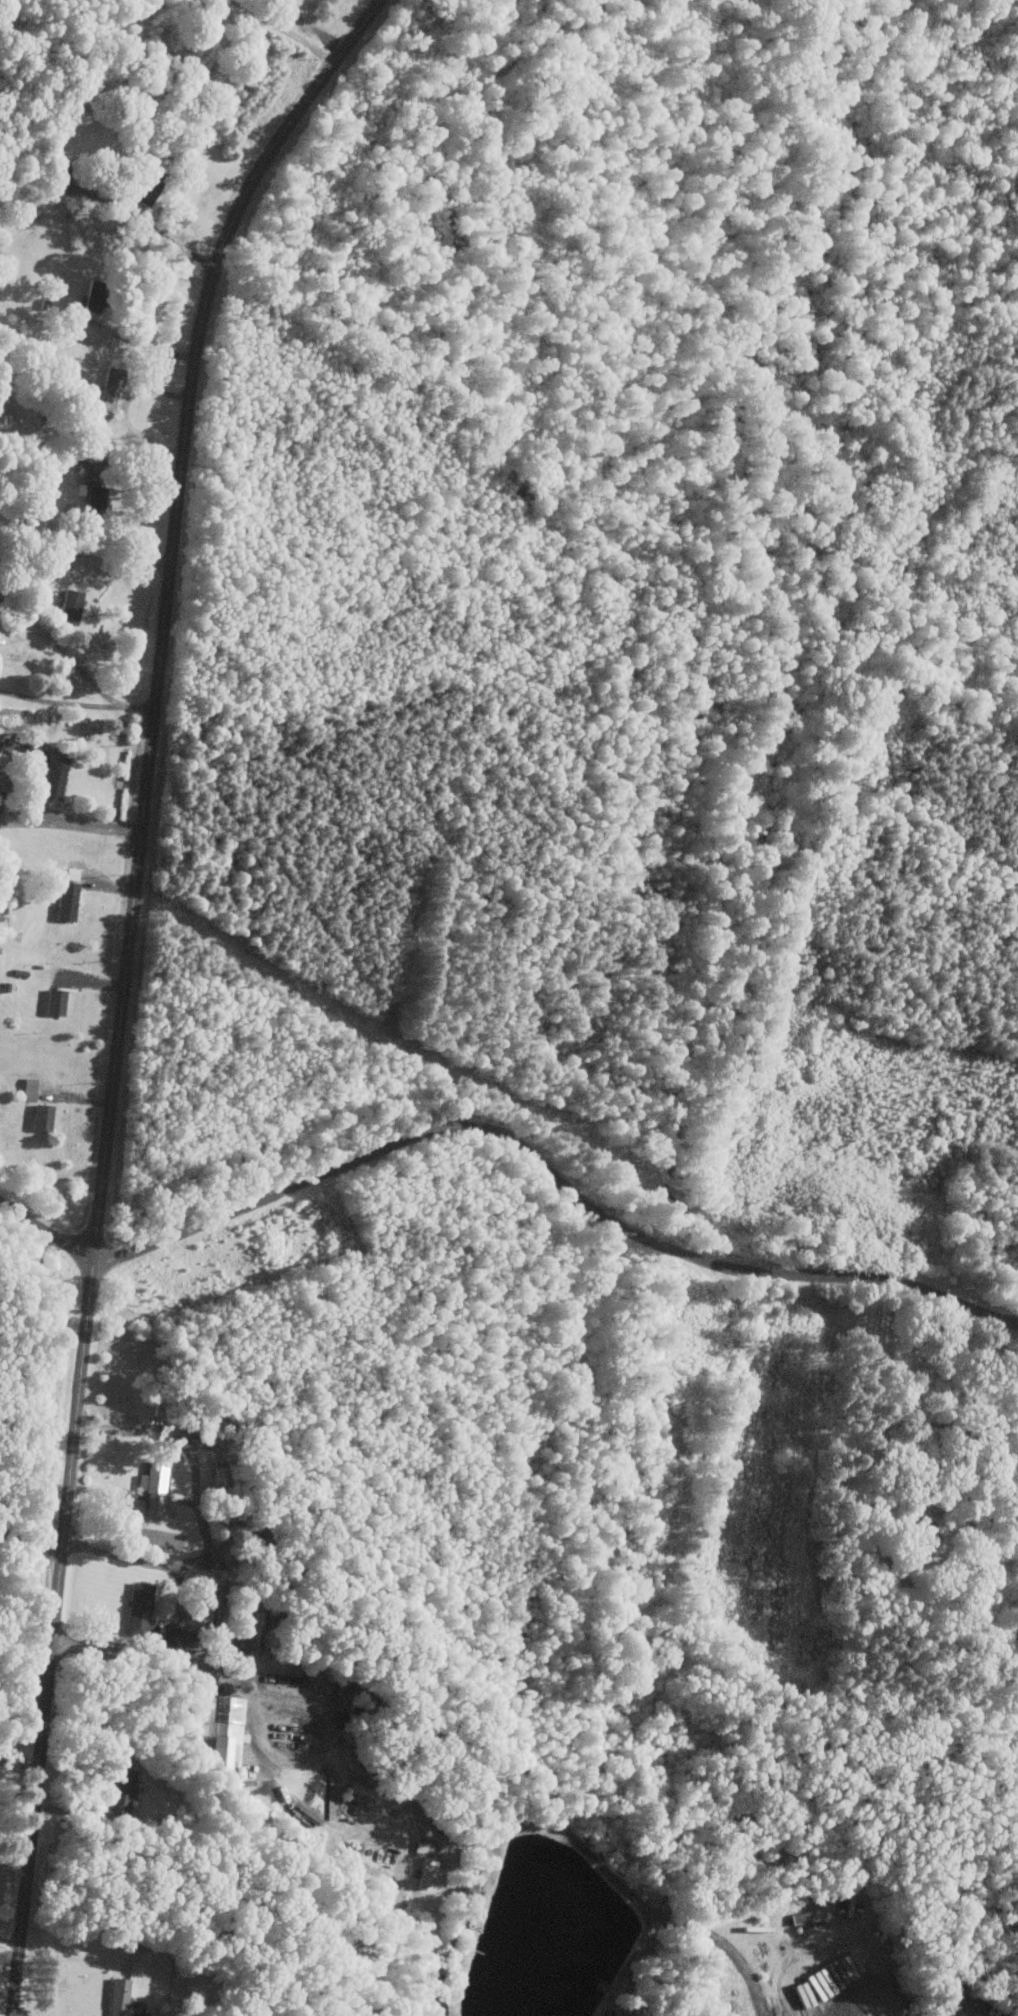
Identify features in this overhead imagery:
road: (286, 30)
building: (147, 187)
road: (166, 238)
building: (93, 297)
road: (147, 344)
building: (109, 389)
road: (109, 479)
building: (94, 501)
road: (37, 543)
road: (85, 556)
building: (69, 608)
road: (55, 641)
road: (76, 703)
building: (54, 778)
road: (70, 824)
building: (65, 900)
road: (123, 983)
building: (54, 1001)
building: (39, 1117)
road: (551, 1177)
road: (45, 1230)
building: (151, 1487)
road: (203, 1521)
road: (12, 1535)
building: (917, 1536)
road: (12, 1544)
road: (43, 1548)
building: (136, 1608)
road: (178, 1611)
road: (220, 1616)
road: (23, 1682)
building: (216, 1729)
road: (20, 1763)
building: (118, 1790)
road: (424, 1817)
road: (16, 1825)
building: (424, 1872)
building: (467, 1886)
building: (800, 1919)
road: (9, 1940)
building: (116, 1997)
road: (138, 2015)

